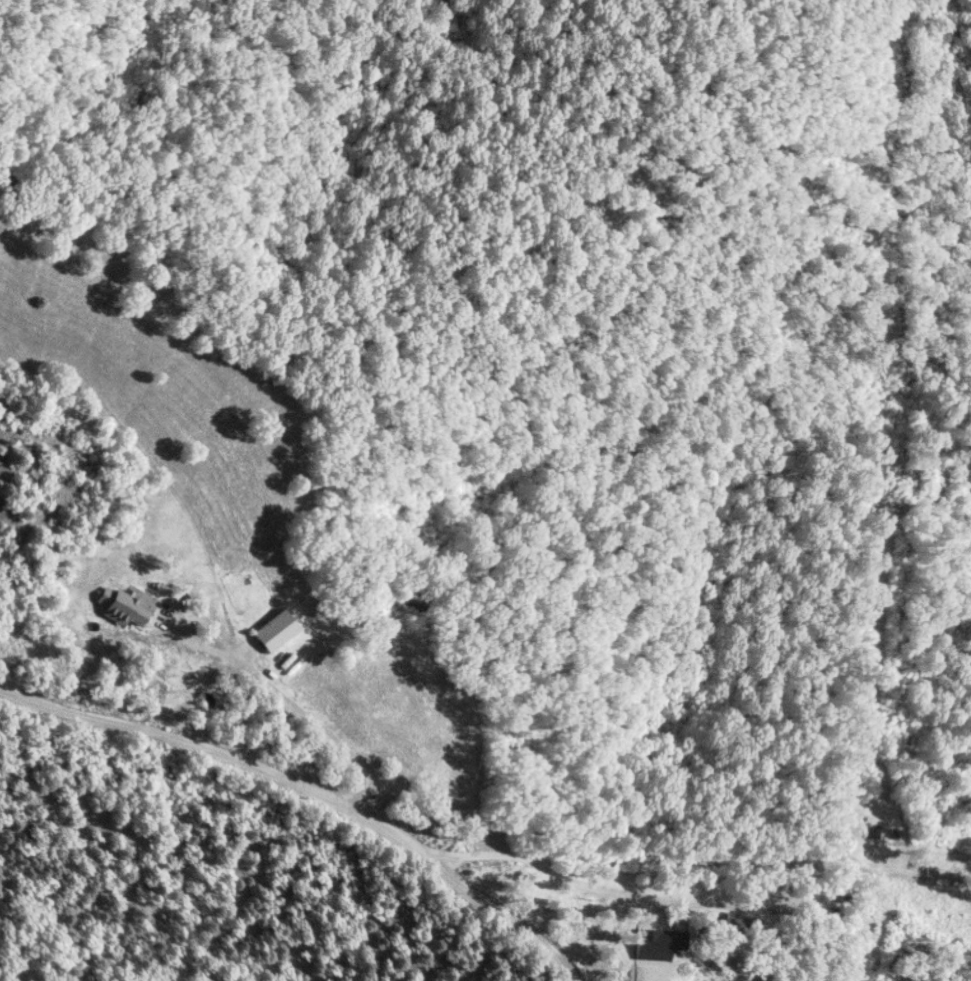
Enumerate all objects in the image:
building: (121, 609)
building: (271, 631)
road: (314, 788)
building: (734, 924)

